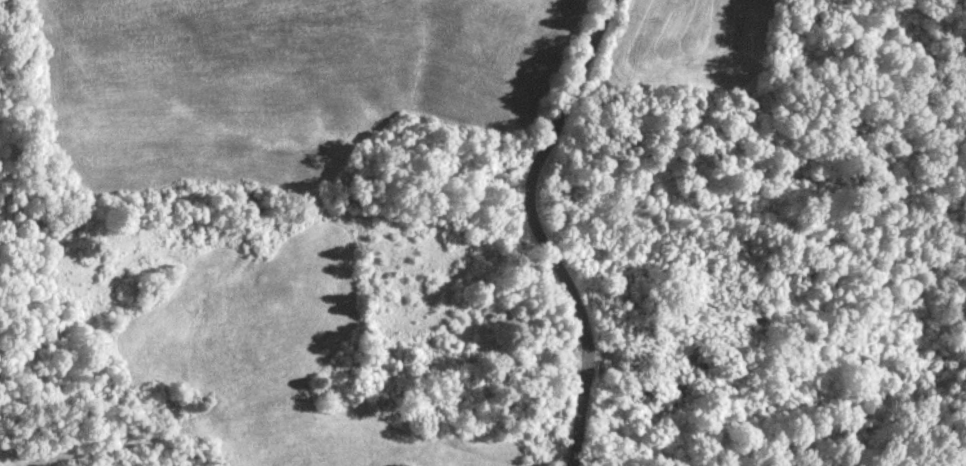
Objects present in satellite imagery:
road: (543, 231)

